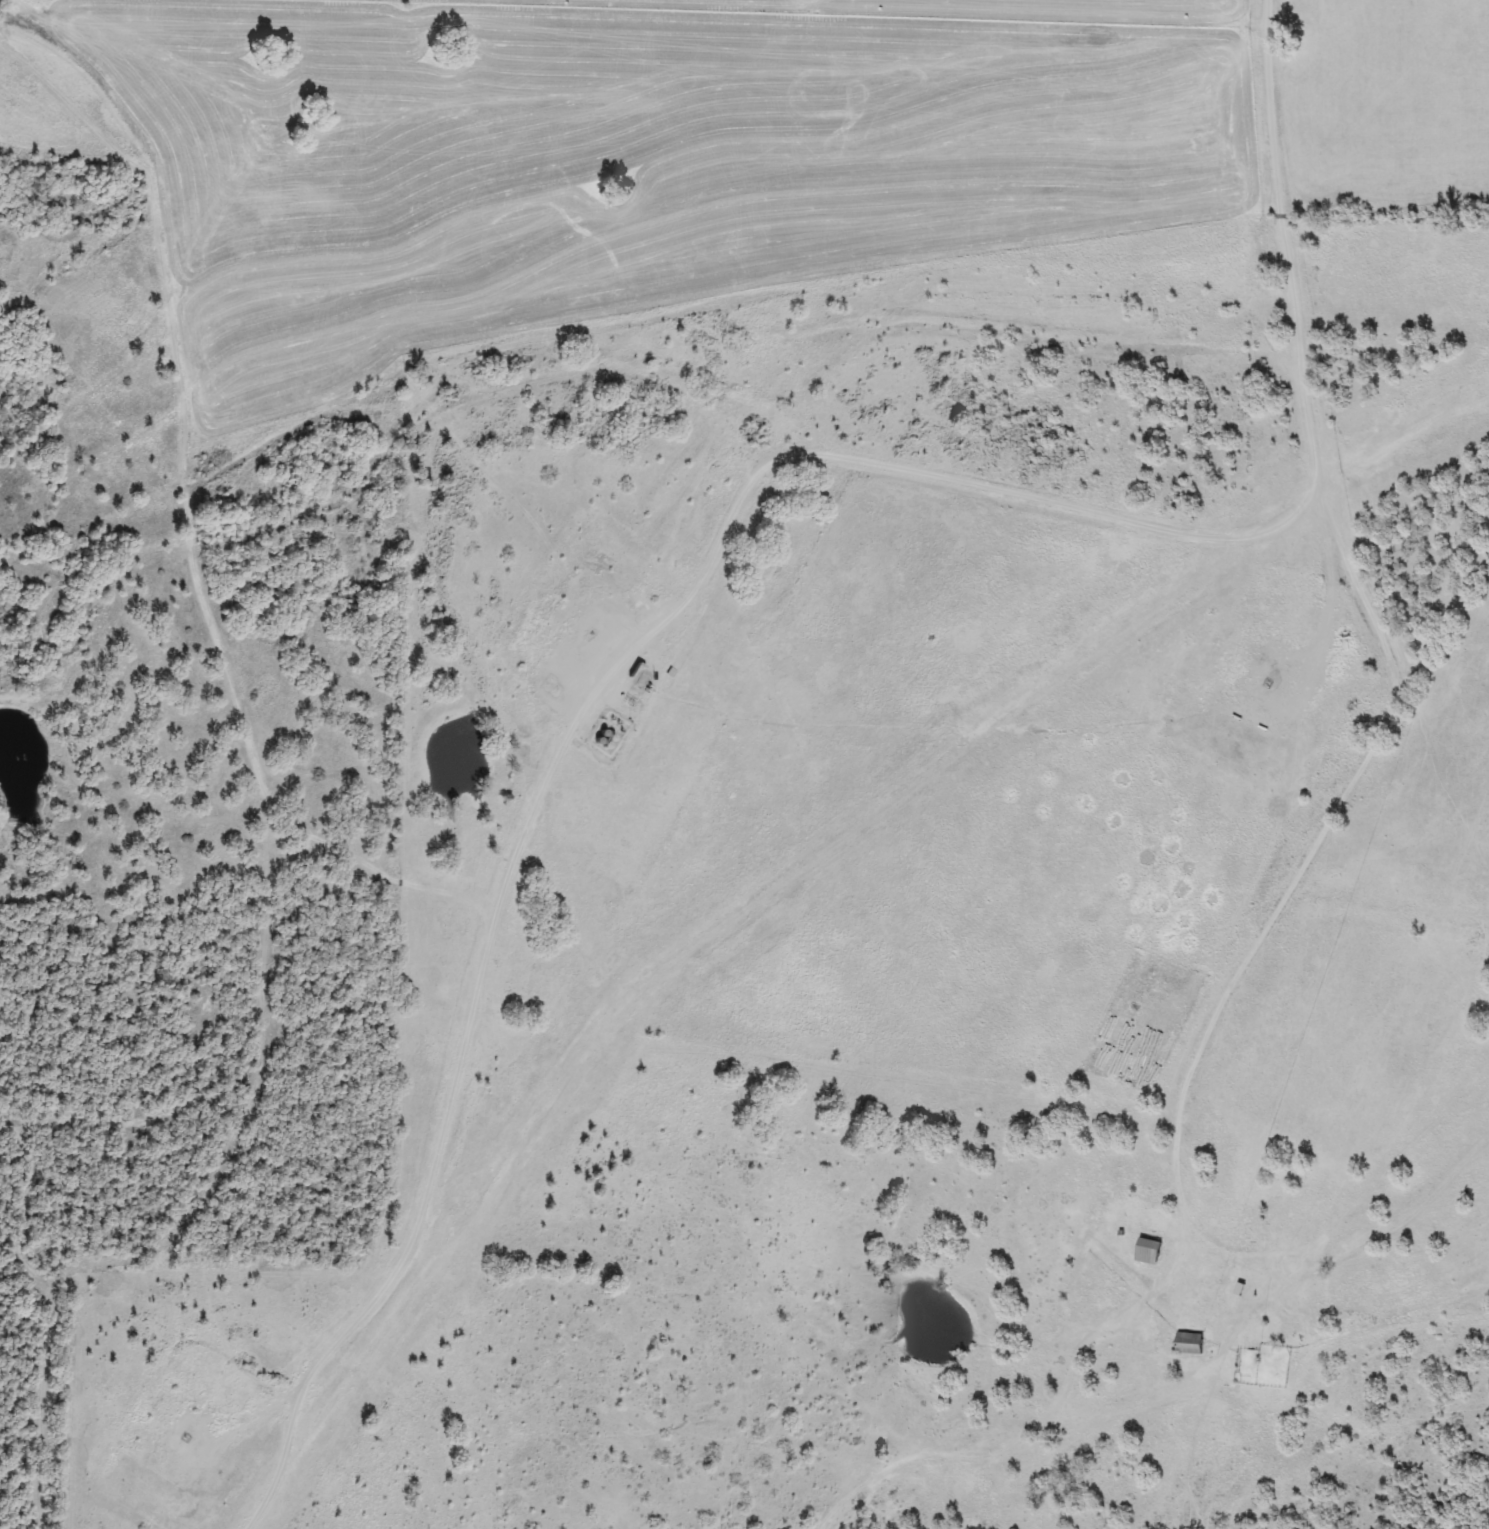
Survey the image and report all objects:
building: (1150, 1251)
building: (1191, 1343)

